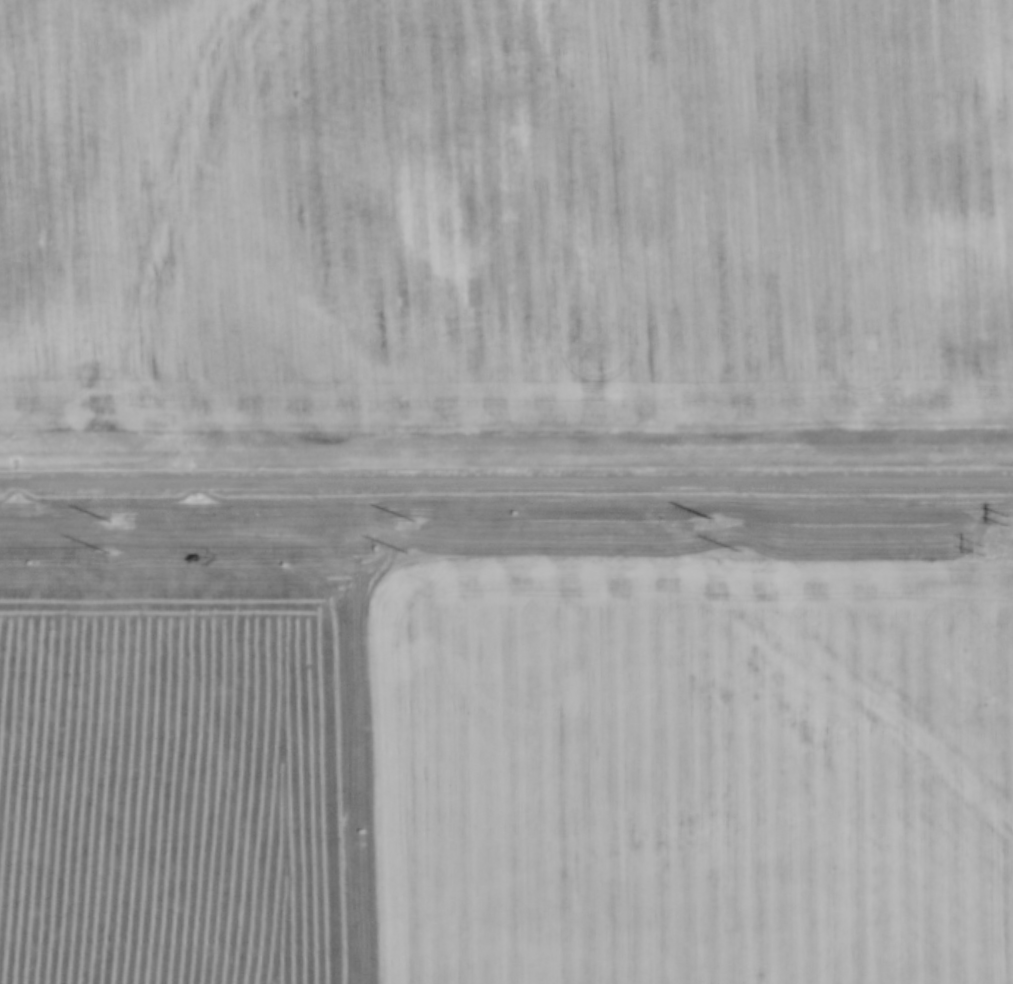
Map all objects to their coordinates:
road: (506, 482)

